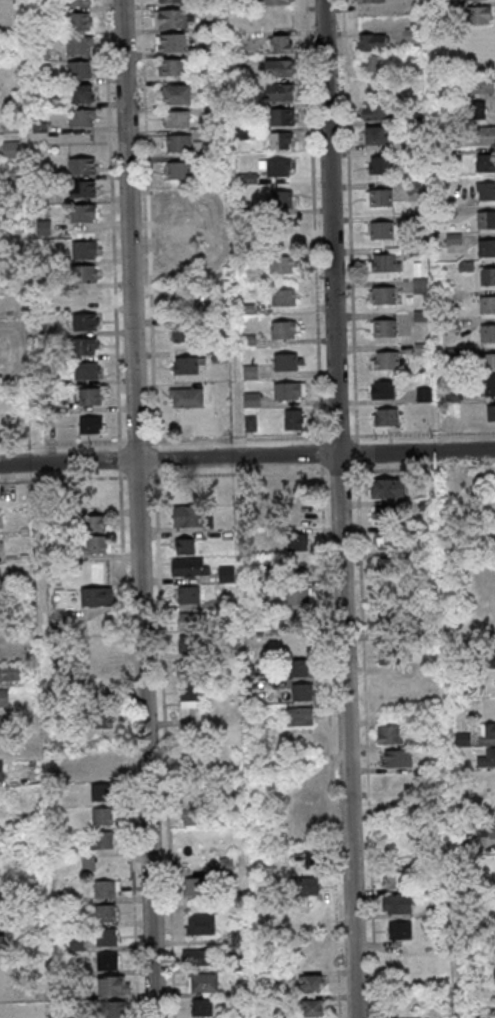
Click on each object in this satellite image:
building: (369, 0)
building: (171, 1)
building: (276, 2)
building: (78, 3)
building: (480, 15)
building: (173, 18)
building: (78, 23)
building: (413, 36)
building: (481, 40)
building: (372, 41)
building: (171, 42)
building: (282, 43)
building: (79, 46)
building: (372, 63)
building: (172, 67)
building: (278, 68)
building: (79, 70)
building: (481, 85)
building: (371, 87)
building: (283, 92)
building: (82, 94)
building: (177, 94)
building: (477, 110)
building: (375, 112)
building: (87, 117)
building: (283, 117)
building: (176, 119)
building: (375, 135)
building: (478, 136)
building: (280, 140)
building: (177, 144)
building: (11, 149)
building: (487, 164)
building: (381, 165)
building: (81, 166)
building: (280, 167)
building: (178, 171)
building: (82, 189)
building: (487, 192)
building: (380, 197)
building: (281, 199)
building: (184, 204)
building: (84, 213)
building: (487, 221)
building: (44, 227)
building: (283, 229)
building: (381, 230)
building: (181, 236)
building: (86, 249)
building: (488, 249)
building: (385, 262)
building: (282, 265)
building: (181, 269)
building: (86, 273)
building: (489, 277)
building: (384, 295)
building: (87, 297)
building: (285, 297)
building: (179, 301)
building: (488, 306)
building: (87, 322)
building: (384, 328)
building: (285, 329)
building: (181, 333)
building: (489, 334)
building: (88, 346)
building: (219, 354)
building: (388, 360)
building: (288, 361)
building: (490, 363)
building: (187, 365)
building: (87, 370)
building: (250, 372)
building: (489, 385)
building: (383, 389)
building: (290, 390)
building: (90, 396)
building: (187, 397)
building: (251, 399)
building: (491, 413)
building: (386, 417)
building: (294, 418)
building: (92, 425)
road: (247, 458)
building: (388, 487)
road: (137, 509)
road: (338, 509)
building: (188, 516)
building: (387, 516)
building: (96, 523)
building: (389, 541)
building: (97, 544)
building: (299, 544)
building: (185, 545)
building: (188, 567)
building: (390, 570)
building: (188, 594)
building: (298, 596)
building: (95, 598)
building: (189, 621)
building: (391, 627)
building: (190, 644)
building: (391, 656)
building: (491, 659)
building: (301, 667)
building: (188, 670)
building: (10, 674)
building: (302, 691)
building: (190, 696)
building: (4, 698)
building: (299, 717)
building: (101, 719)
building: (3, 725)
building: (489, 730)
building: (389, 734)
building: (397, 758)
building: (488, 758)
building: (101, 768)
building: (1, 771)
building: (395, 782)
building: (100, 792)
building: (193, 814)
building: (103, 817)
building: (486, 829)
building: (103, 842)
building: (308, 857)
building: (397, 880)
building: (437, 884)
building: (308, 885)
building: (195, 886)
building: (107, 888)
building: (397, 904)
building: (105, 913)
building: (201, 924)
building: (399, 930)
building: (107, 937)
building: (2, 945)
building: (198, 957)
building: (107, 961)
building: (494, 974)
building: (204, 982)
building: (312, 983)
building: (113, 985)
building: (202, 1007)
building: (313, 1008)

